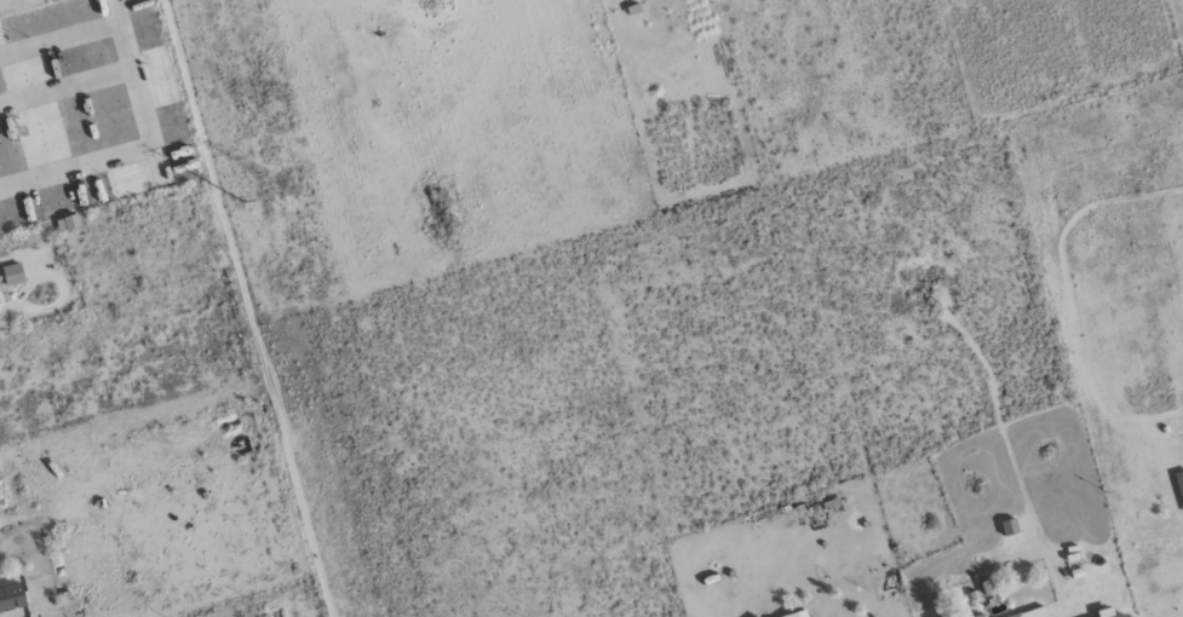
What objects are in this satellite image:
road: (148, 87)
power tower: (286, 191)
power tower: (237, 204)
building: (68, 224)
building: (13, 275)
road: (247, 307)
building: (1179, 483)
building: (12, 598)
building: (1033, 613)
building: (798, 615)
building: (1120, 615)
building: (982, 616)

